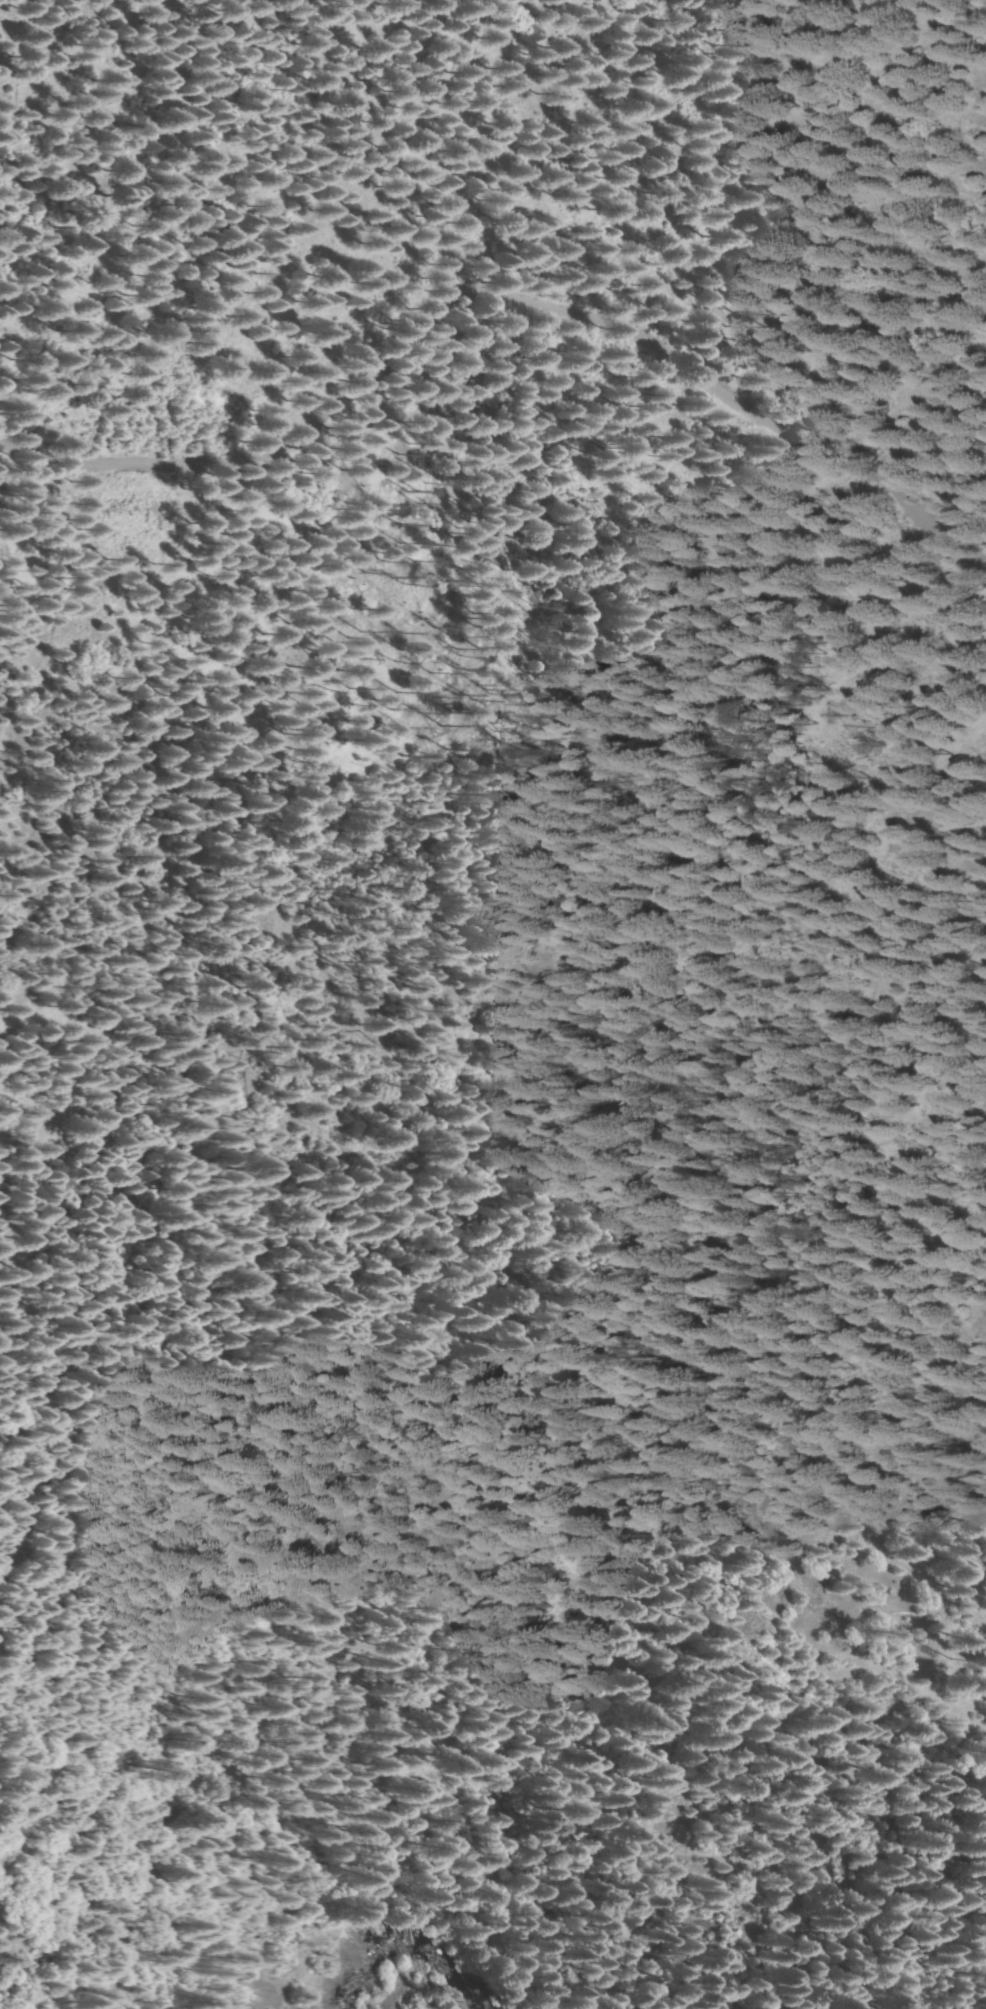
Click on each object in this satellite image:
road: (505, 298)
river: (424, 1947)

